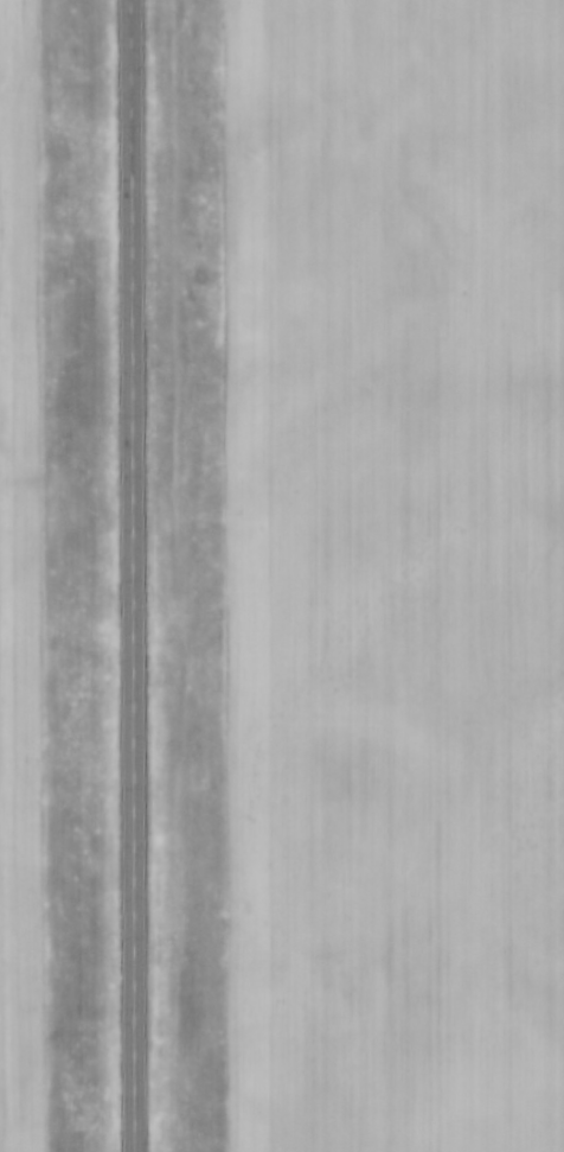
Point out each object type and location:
road: (133, 575)

